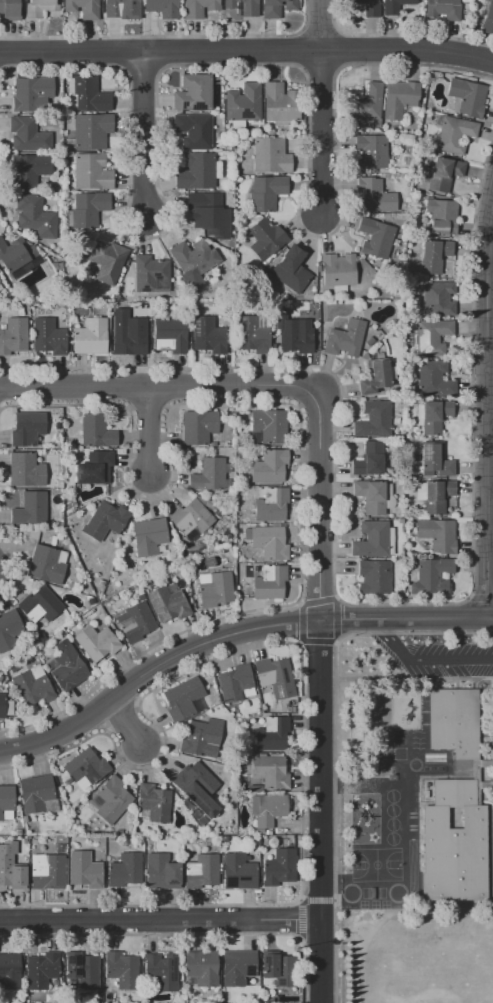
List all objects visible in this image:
building: (394, 5)
building: (40, 7)
building: (118, 7)
building: (199, 7)
building: (242, 7)
building: (365, 7)
building: (9, 8)
building: (83, 8)
building: (163, 8)
building: (276, 8)
building: (444, 8)
building: (488, 19)
road: (319, 31)
road: (399, 34)
road: (166, 35)
road: (340, 48)
road: (298, 49)
road: (247, 51)
road: (125, 54)
road: (159, 54)
road: (246, 64)
road: (320, 70)
road: (142, 73)
building: (193, 92)
building: (31, 93)
building: (90, 94)
building: (466, 97)
building: (399, 98)
building: (280, 102)
building: (364, 102)
building: (243, 103)
road: (320, 107)
building: (194, 130)
building: (88, 132)
road: (144, 134)
building: (453, 134)
building: (27, 135)
building: (371, 152)
building: (270, 154)
building: (29, 170)
building: (196, 171)
building: (92, 172)
building: (443, 172)
building: (266, 192)
building: (374, 195)
building: (207, 207)
building: (87, 209)
building: (442, 215)
building: (34, 216)
road: (482, 229)
building: (375, 237)
building: (265, 238)
building: (15, 253)
road: (490, 254)
building: (433, 255)
building: (194, 258)
building: (107, 261)
building: (290, 269)
building: (338, 269)
building: (150, 274)
road: (482, 277)
building: (174, 294)
building: (438, 299)
building: (179, 315)
building: (130, 334)
building: (14, 335)
building: (170, 335)
building: (207, 335)
building: (252, 335)
building: (296, 335)
building: (48, 336)
building: (90, 336)
building: (431, 336)
building: (344, 339)
building: (369, 341)
building: (376, 377)
building: (433, 378)
road: (159, 385)
road: (165, 385)
road: (130, 386)
road: (486, 403)
road: (147, 405)
road: (166, 405)
road: (128, 406)
building: (432, 415)
building: (373, 419)
building: (270, 426)
building: (198, 427)
building: (27, 428)
road: (148, 428)
building: (96, 431)
road: (300, 431)
building: (433, 457)
building: (368, 459)
building: (269, 466)
building: (94, 467)
building: (25, 470)
building: (208, 474)
building: (412, 481)
building: (399, 482)
building: (434, 495)
building: (370, 496)
building: (209, 504)
building: (270, 504)
road: (317, 506)
building: (29, 509)
building: (415, 516)
building: (191, 519)
building: (106, 520)
building: (400, 521)
building: (437, 534)
building: (149, 536)
building: (373, 539)
building: (269, 541)
building: (47, 564)
road: (14, 566)
building: (432, 575)
building: (373, 576)
building: (269, 582)
building: (100, 583)
building: (214, 589)
building: (186, 590)
building: (139, 597)
road: (480, 597)
building: (90, 600)
road: (317, 600)
building: (167, 602)
road: (298, 602)
building: (190, 603)
road: (354, 603)
building: (40, 605)
road: (335, 617)
building: (135, 622)
road: (299, 623)
building: (10, 631)
road: (232, 633)
building: (40, 637)
road: (317, 640)
building: (97, 642)
road: (297, 643)
road: (422, 659)
building: (67, 666)
building: (274, 673)
building: (236, 684)
building: (33, 685)
road: (120, 690)
building: (185, 700)
road: (136, 703)
road: (300, 705)
building: (5, 707)
building: (292, 709)
road: (93, 713)
road: (120, 716)
road: (125, 722)
road: (105, 731)
building: (272, 733)
building: (202, 738)
road: (333, 741)
building: (240, 759)
building: (209, 763)
building: (85, 769)
building: (270, 771)
building: (195, 783)
building: (255, 788)
building: (37, 794)
building: (112, 799)
building: (153, 801)
building: (6, 802)
building: (455, 804)
building: (267, 809)
road: (320, 811)
building: (24, 819)
building: (207, 828)
building: (18, 832)
building: (258, 832)
building: (267, 832)
building: (224, 838)
building: (0, 840)
building: (10, 867)
building: (279, 867)
building: (84, 870)
building: (124, 871)
building: (202, 871)
building: (238, 871)
building: (47, 872)
building: (161, 872)
road: (315, 899)
road: (160, 917)
road: (299, 918)
road: (183, 933)
building: (238, 967)
building: (202, 968)
building: (279, 969)
building: (41, 970)
building: (121, 970)
building: (10, 971)
building: (83, 971)
building: (161, 971)
building: (98, 998)
building: (225, 1000)

